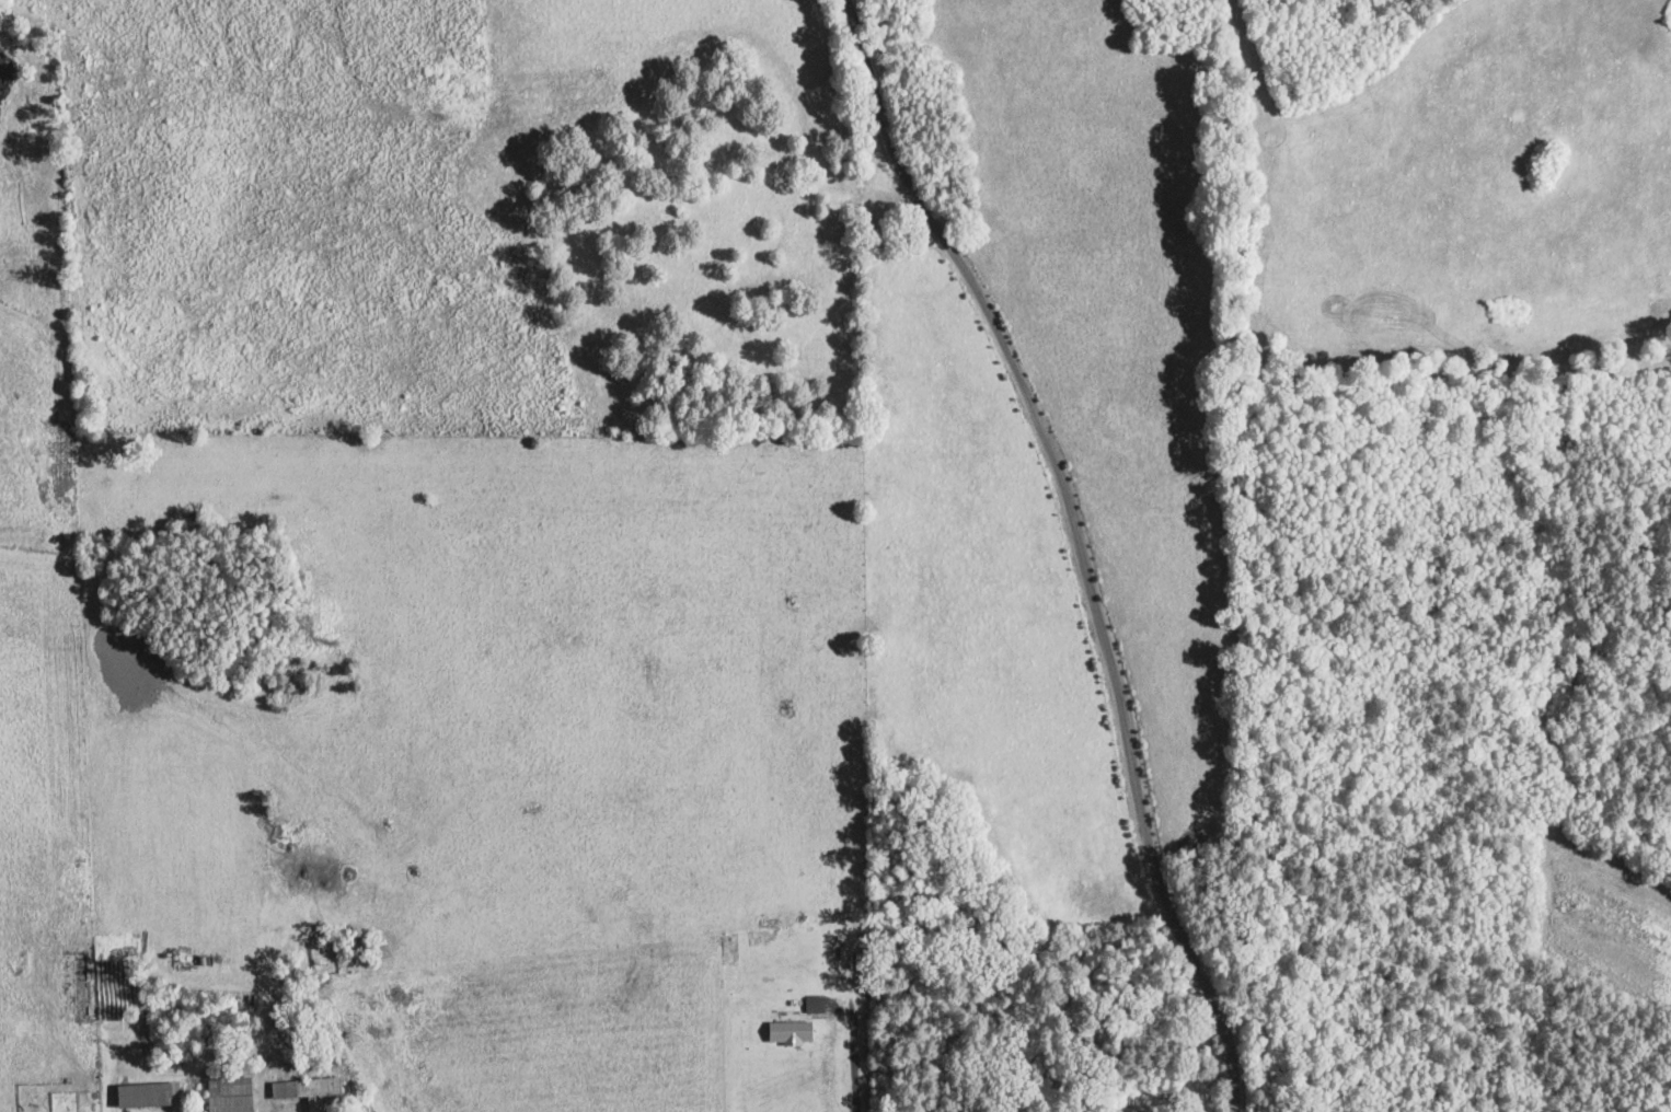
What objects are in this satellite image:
road: (1079, 543)
road: (261, 1056)
road: (853, 1065)
building: (313, 1092)
building: (231, 1093)
building: (149, 1094)
road: (113, 1110)

